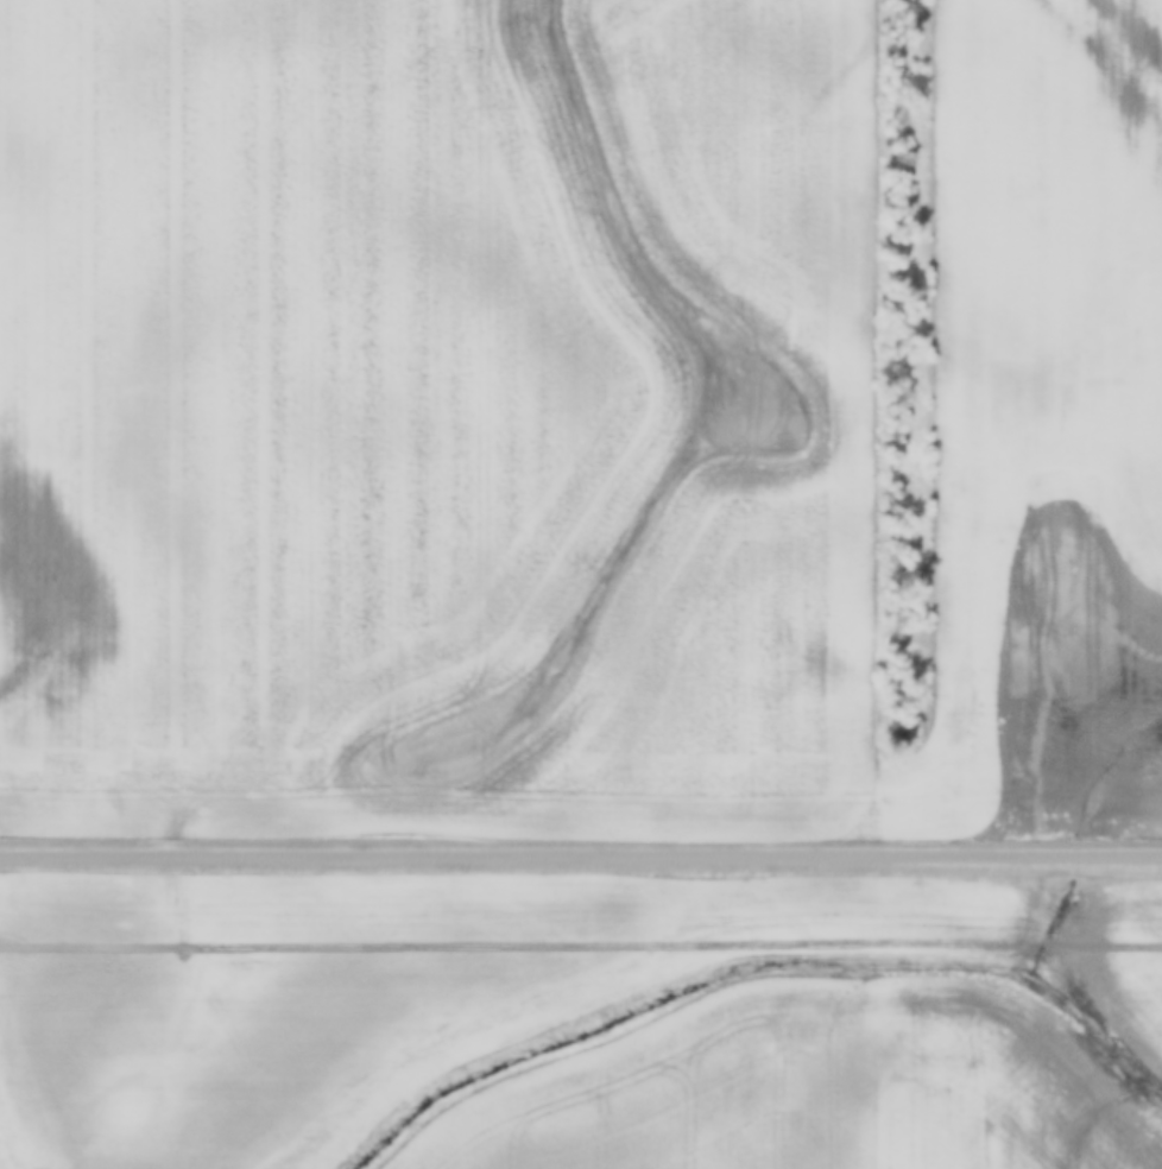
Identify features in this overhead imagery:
road: (581, 857)

